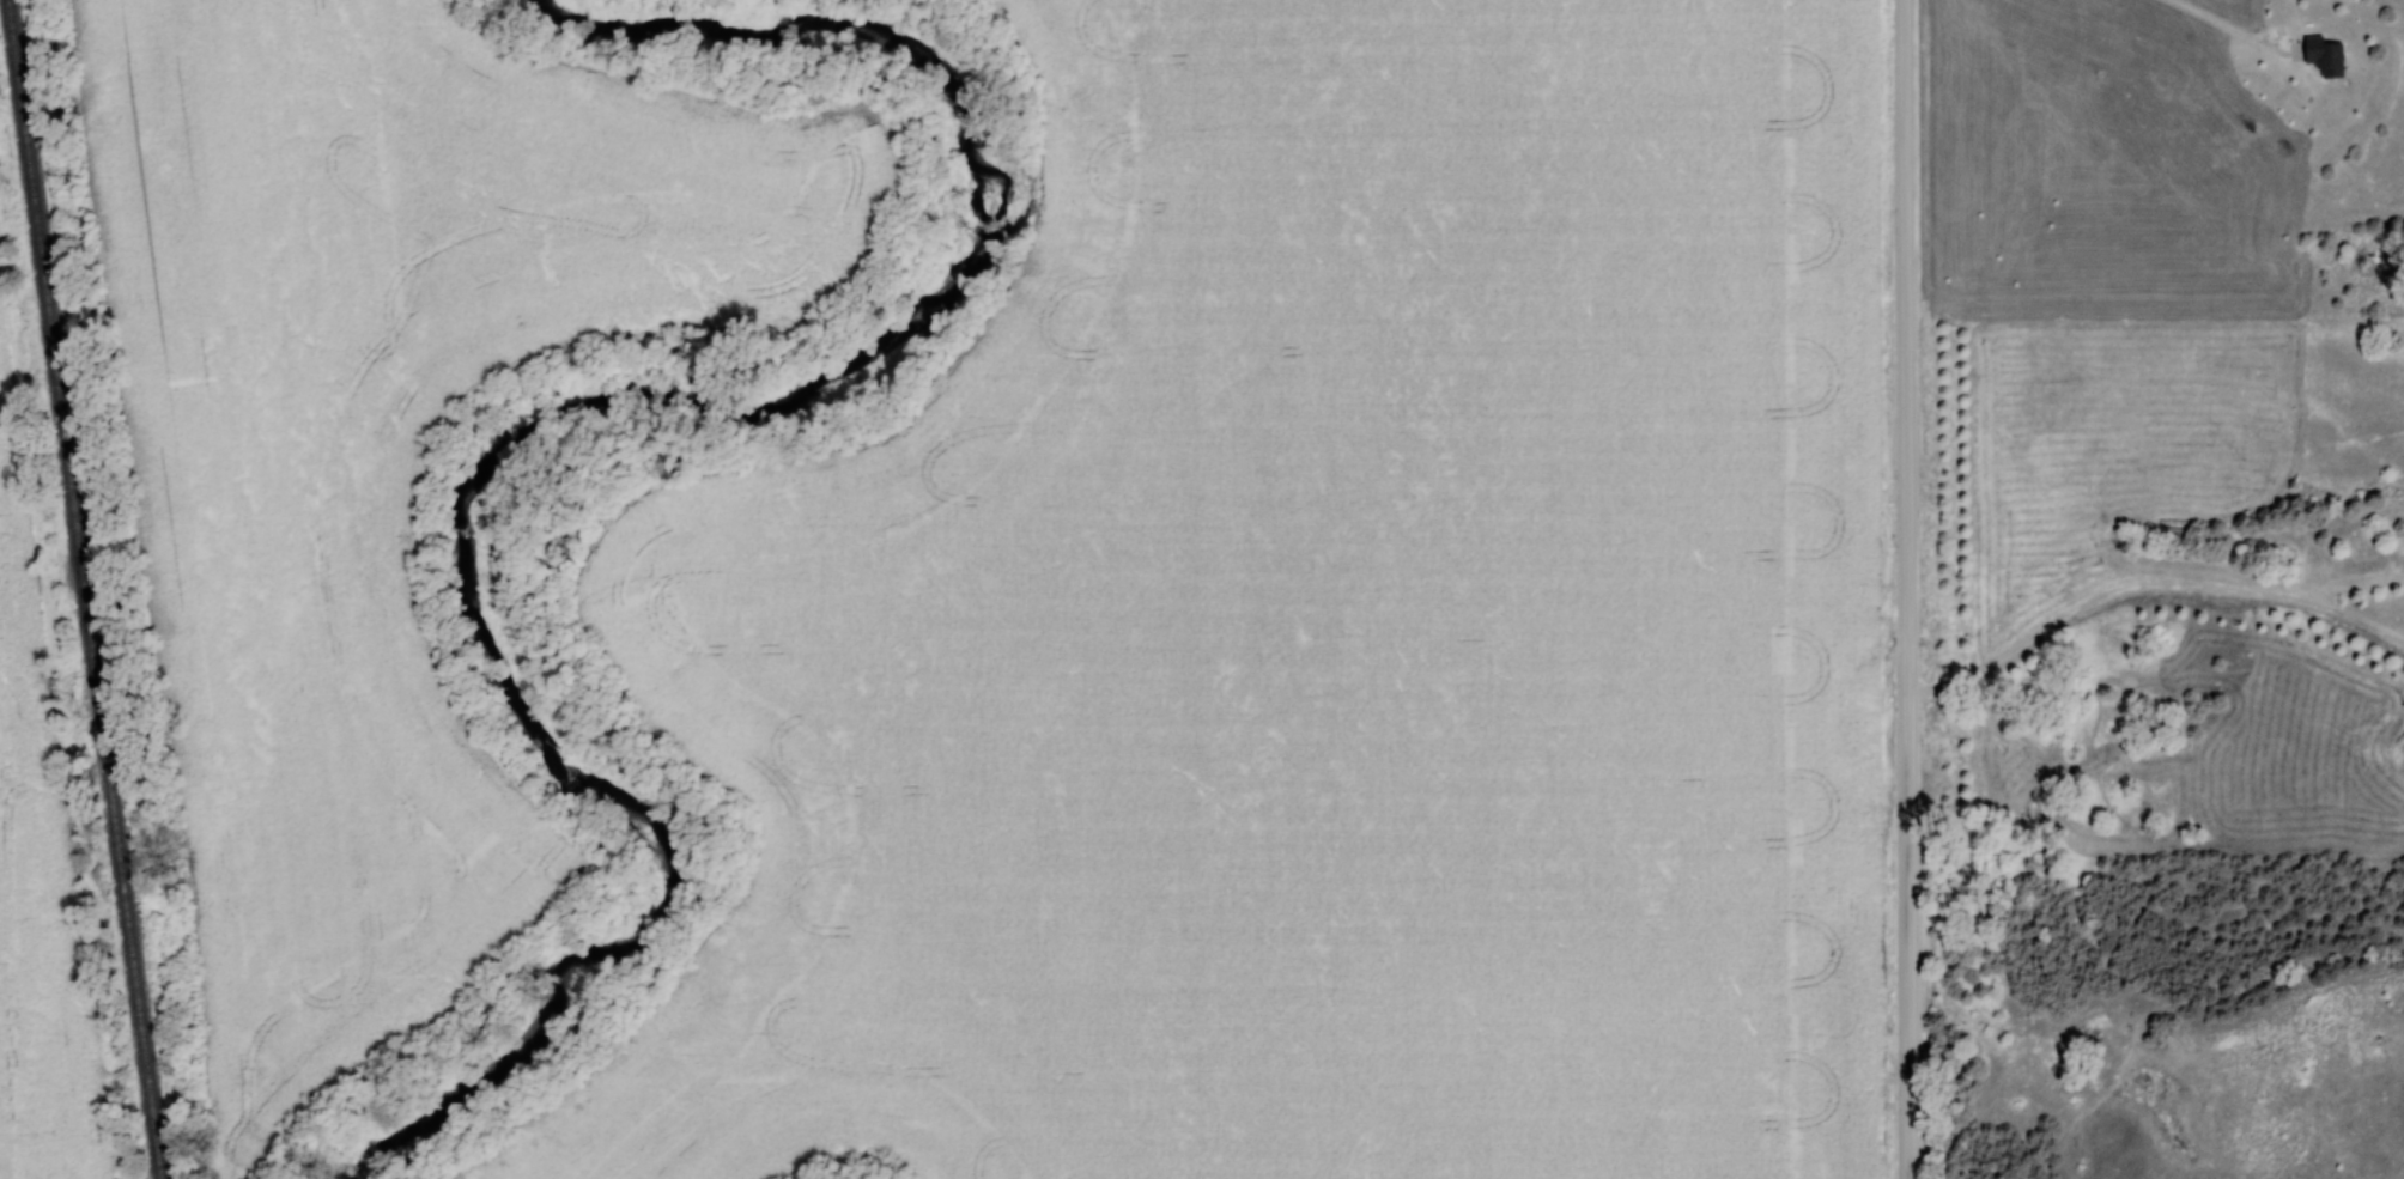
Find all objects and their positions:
building: (2325, 56)
river: (570, 419)
road: (2149, 588)
railway: (84, 589)
road: (1908, 589)

